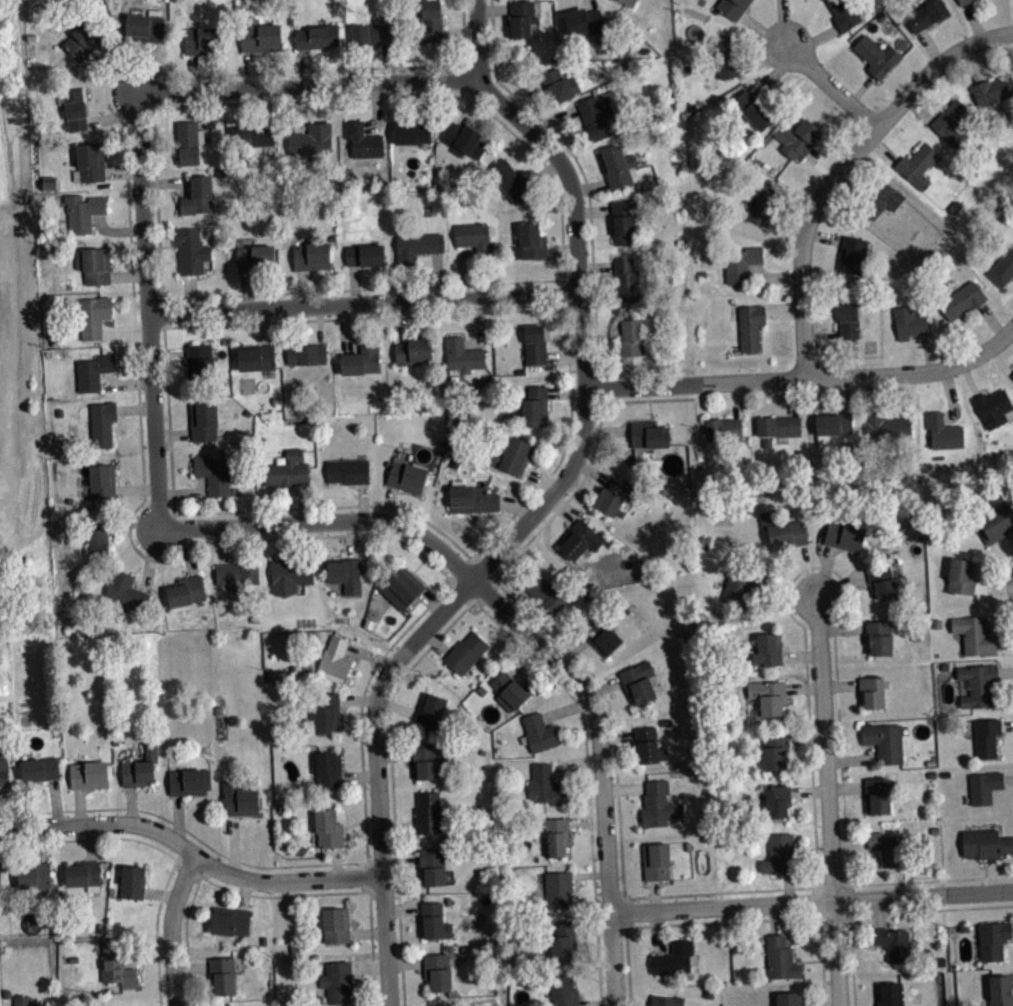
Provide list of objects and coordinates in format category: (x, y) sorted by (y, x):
building: (628, 2)
building: (964, 2)
building: (732, 7)
building: (844, 13)
building: (926, 14)
building: (521, 18)
building: (584, 21)
building: (428, 23)
building: (142, 27)
building: (371, 33)
building: (260, 35)
building: (315, 36)
building: (84, 39)
building: (206, 40)
building: (726, 55)
building: (876, 55)
road: (832, 83)
building: (560, 84)
road: (308, 86)
building: (992, 89)
building: (74, 107)
building: (752, 109)
building: (595, 115)
building: (951, 122)
building: (411, 132)
building: (253, 135)
building: (798, 138)
building: (311, 139)
building: (464, 140)
building: (188, 141)
building: (364, 141)
building: (91, 162)
building: (917, 164)
road: (844, 165)
building: (616, 166)
road: (568, 177)
building: (509, 180)
building: (197, 196)
building: (882, 199)
building: (762, 206)
building: (83, 211)
building: (623, 222)
building: (474, 236)
building: (529, 241)
building: (416, 248)
building: (191, 249)
building: (852, 253)
building: (364, 254)
building: (311, 255)
building: (255, 258)
building: (741, 263)
building: (94, 265)
building: (1002, 268)
building: (627, 279)
building: (961, 300)
road: (363, 302)
road: (147, 311)
building: (94, 316)
building: (848, 321)
building: (908, 322)
building: (750, 326)
building: (629, 334)
building: (534, 344)
building: (413, 350)
building: (306, 353)
building: (463, 355)
building: (256, 356)
building: (362, 358)
building: (199, 364)
building: (93, 371)
road: (805, 375)
building: (534, 406)
building: (994, 408)
building: (203, 422)
building: (103, 423)
building: (832, 424)
building: (886, 425)
building: (779, 426)
building: (723, 428)
building: (943, 431)
building: (648, 434)
building: (512, 456)
building: (287, 469)
building: (348, 470)
building: (213, 473)
building: (405, 476)
building: (101, 481)
building: (613, 496)
building: (472, 498)
road: (562, 508)
road: (325, 519)
road: (543, 523)
building: (995, 523)
building: (782, 529)
building: (845, 535)
building: (97, 539)
building: (580, 539)
road: (815, 564)
road: (824, 570)
road: (806, 571)
building: (346, 572)
building: (290, 574)
building: (236, 575)
building: (960, 575)
building: (882, 580)
road: (841, 582)
road: (999, 582)
building: (742, 585)
building: (402, 587)
road: (994, 587)
road: (791, 590)
building: (125, 591)
building: (186, 591)
road: (488, 592)
building: (545, 592)
road: (458, 593)
road: (453, 619)
road: (843, 628)
building: (974, 634)
building: (603, 635)
building: (880, 637)
road: (1004, 644)
road: (574, 648)
building: (768, 649)
building: (465, 652)
road: (801, 654)
building: (335, 656)
road: (523, 656)
road: (394, 664)
road: (1005, 671)
building: (639, 681)
road: (840, 683)
building: (977, 683)
road: (605, 686)
road: (803, 687)
building: (510, 690)
building: (873, 691)
building: (769, 695)
road: (609, 707)
road: (566, 708)
building: (430, 711)
building: (327, 712)
building: (666, 721)
road: (1007, 724)
building: (538, 733)
road: (617, 735)
road: (806, 737)
building: (986, 737)
building: (885, 740)
building: (649, 744)
building: (775, 750)
building: (427, 758)
road: (853, 758)
building: (3, 762)
road: (573, 762)
building: (40, 766)
building: (140, 766)
building: (328, 767)
road: (602, 767)
building: (89, 772)
road: (1008, 778)
building: (190, 780)
road: (588, 780)
building: (546, 784)
road: (846, 784)
building: (984, 785)
road: (625, 786)
road: (809, 790)
building: (878, 795)
building: (239, 798)
building: (778, 799)
road: (828, 801)
building: (659, 803)
building: (428, 810)
road: (587, 823)
building: (328, 826)
building: (557, 834)
road: (849, 840)
building: (985, 842)
building: (888, 846)
road: (190, 852)
building: (779, 852)
building: (656, 860)
building: (431, 865)
building: (0, 871)
building: (83, 872)
building: (107, 873)
building: (35, 874)
road: (590, 874)
road: (930, 878)
building: (133, 879)
road: (832, 881)
building: (558, 886)
road: (788, 886)
road: (720, 890)
building: (111, 891)
road: (851, 898)
road: (811, 901)
road: (812, 901)
road: (933, 908)
road: (630, 910)
road: (878, 911)
road: (774, 917)
road: (834, 917)
road: (655, 918)
building: (435, 919)
building: (231, 920)
road: (723, 920)
building: (336, 923)
road: (592, 926)
building: (99, 927)
road: (170, 928)
road: (1012, 928)
building: (993, 938)
building: (563, 940)
building: (893, 941)
building: (779, 956)
building: (673, 957)
building: (72, 958)
road: (851, 958)
road: (822, 960)
road: (628, 965)
building: (117, 969)
building: (438, 969)
building: (222, 973)
building: (337, 979)
building: (564, 990)
building: (1000, 990)
building: (6, 992)
building: (890, 993)
building: (788, 998)
building: (24, 1000)
building: (666, 1000)
road: (597, 1003)
building: (446, 1005)

